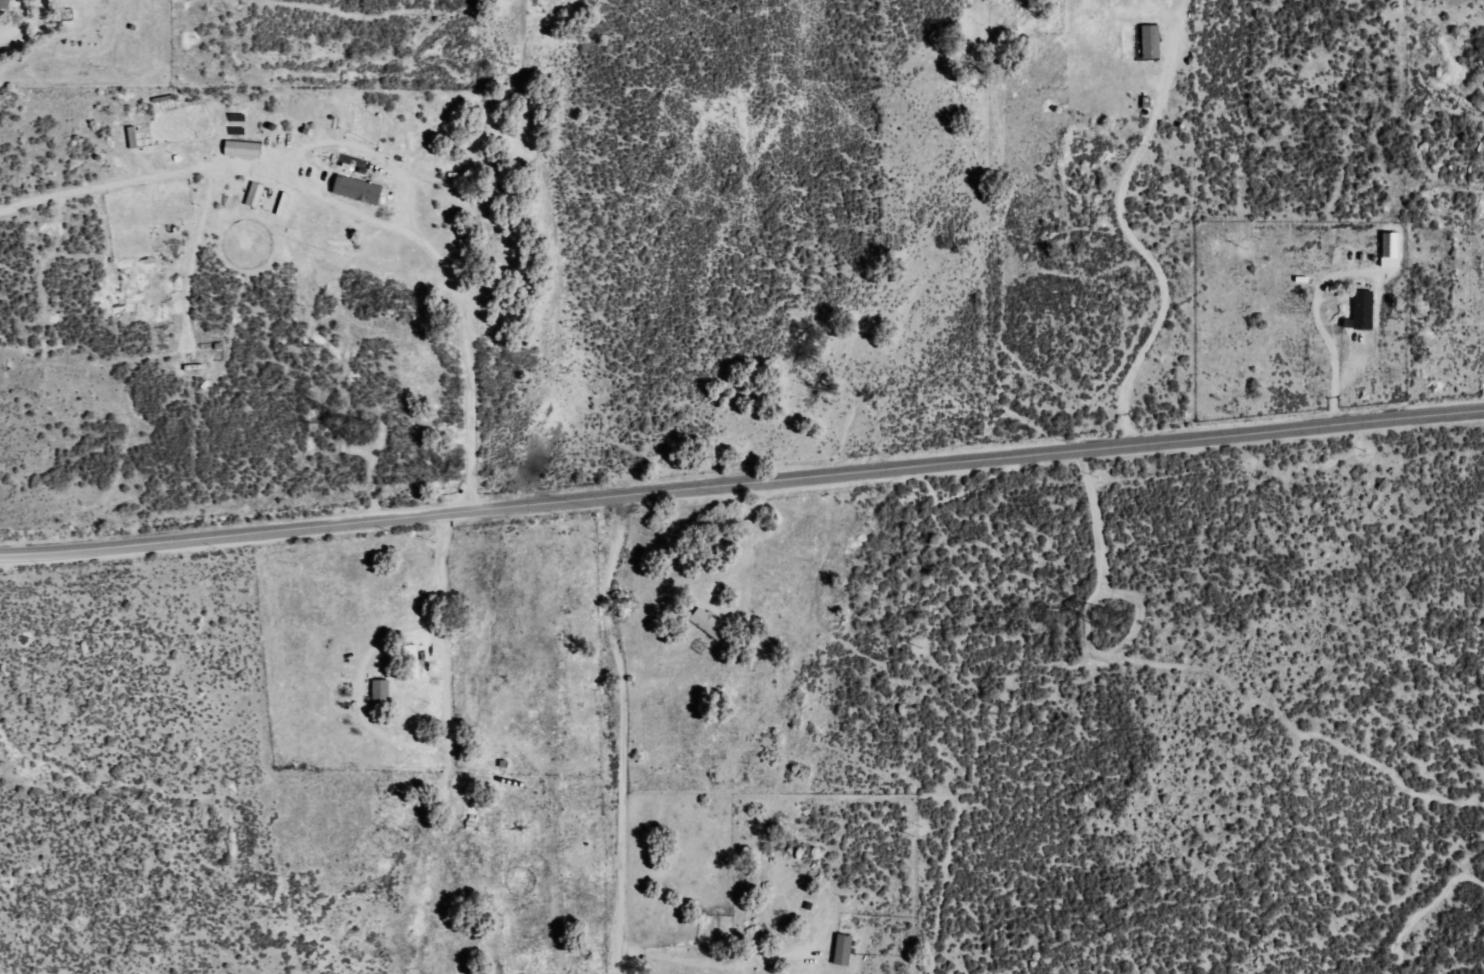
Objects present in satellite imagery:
building: (2, 11)
building: (1151, 42)
building: (358, 190)
building: (254, 195)
building: (1391, 245)
road: (30, 278)
building: (1361, 311)
power tower: (358, 432)
road: (741, 485)
power tower: (1110, 618)
building: (708, 623)
building: (411, 651)
building: (380, 693)
road: (437, 743)
building: (843, 950)

